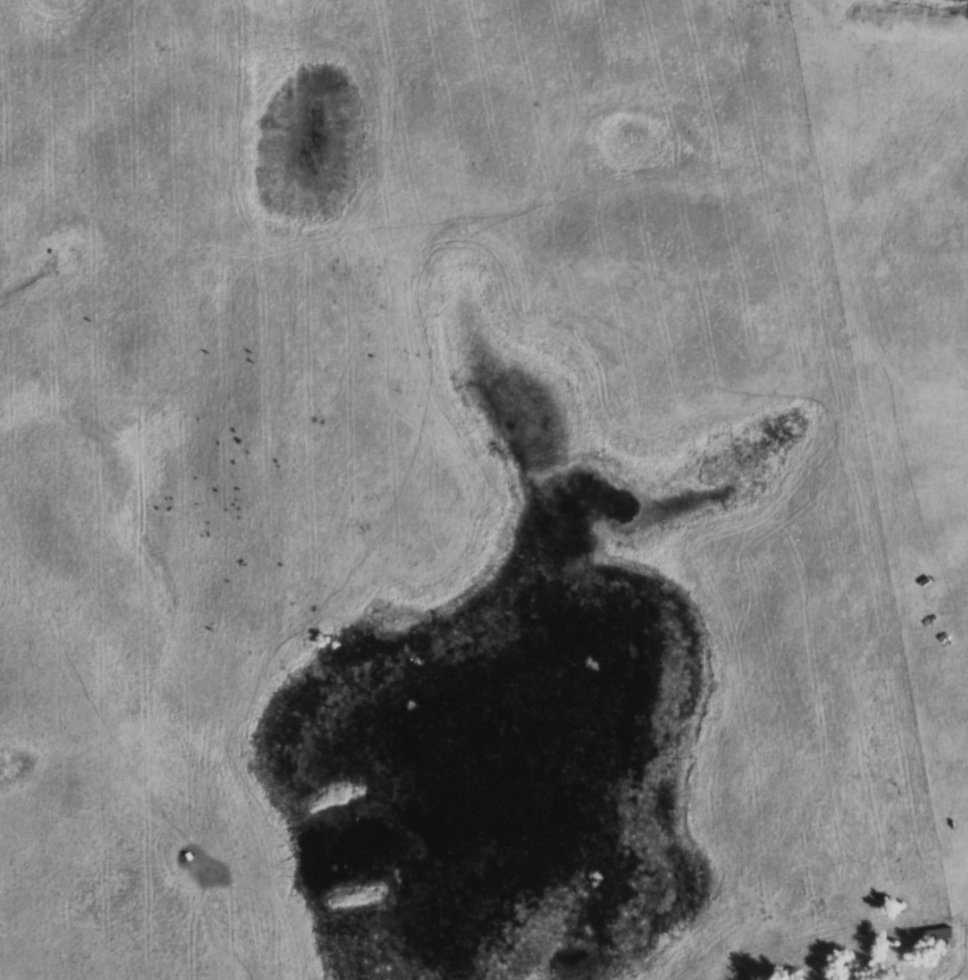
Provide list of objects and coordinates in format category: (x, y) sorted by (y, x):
building: (936, 937)

